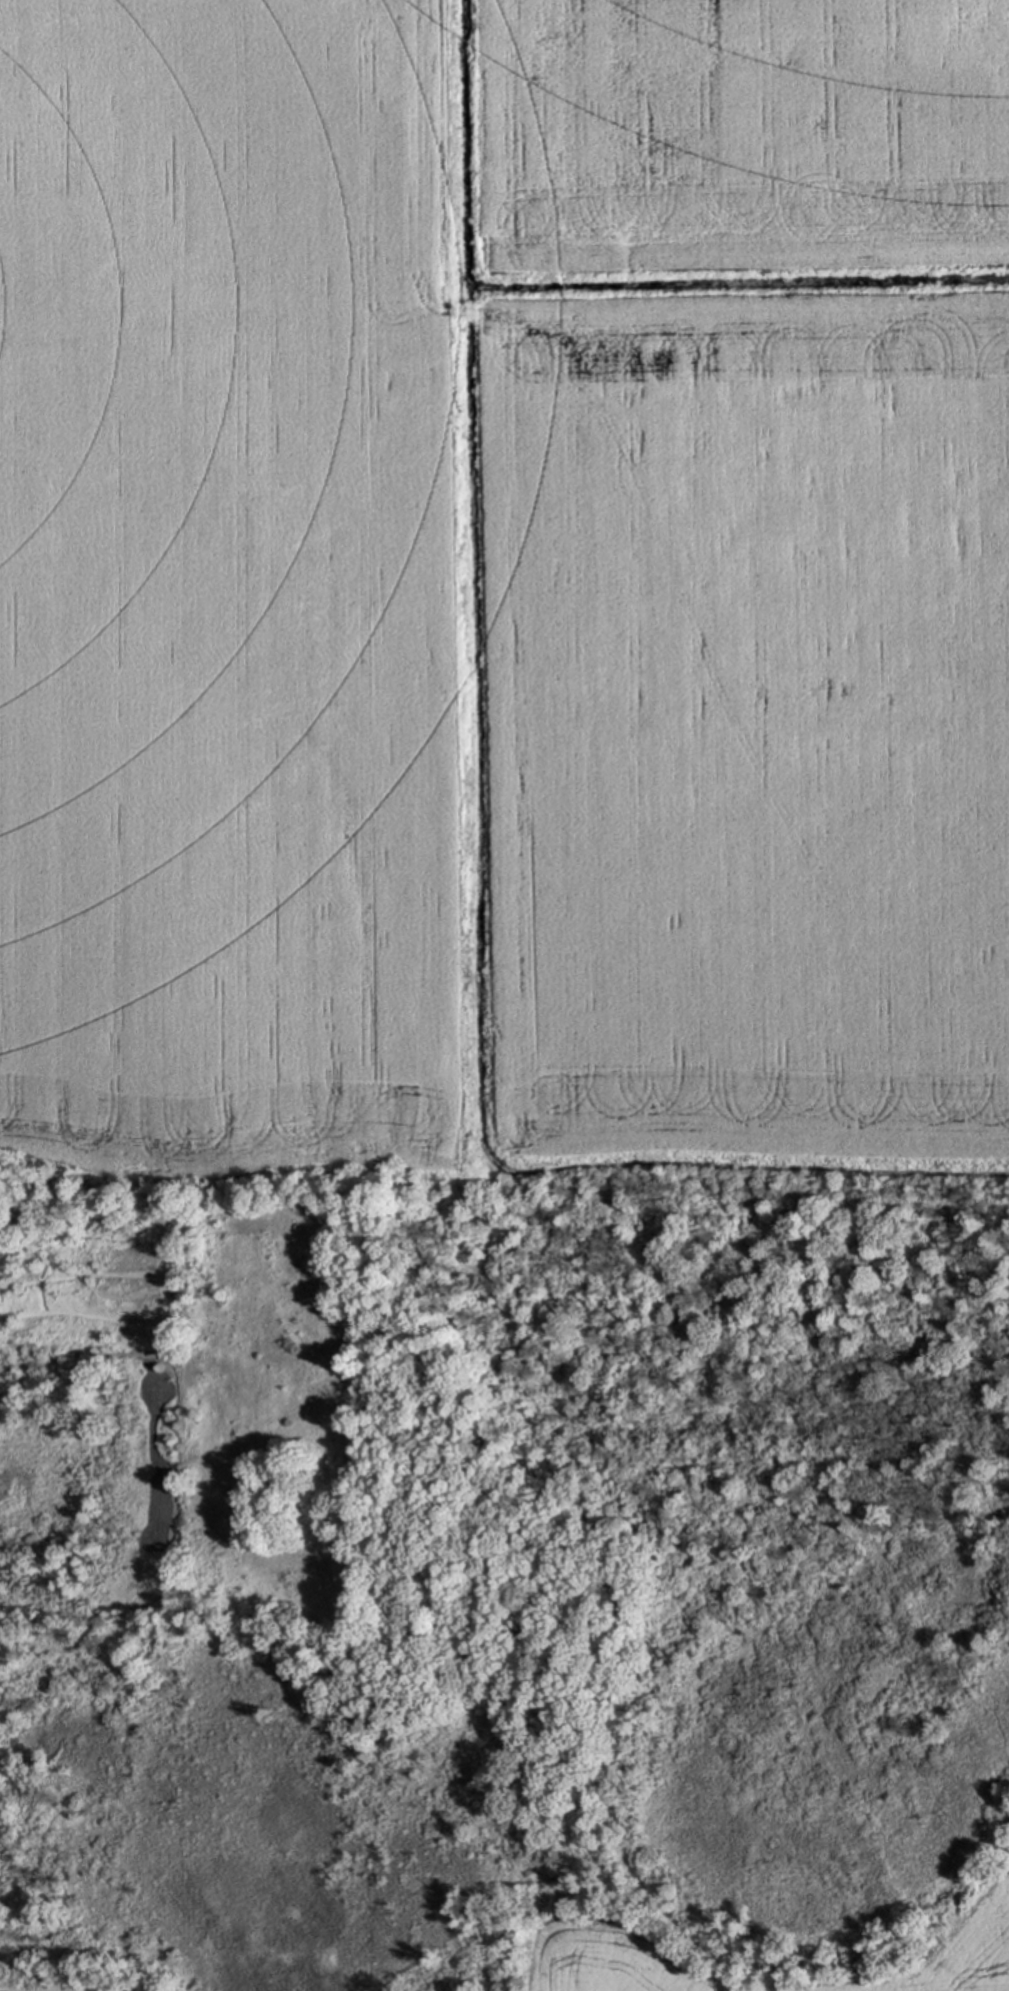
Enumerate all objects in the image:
road: (170, 768)

